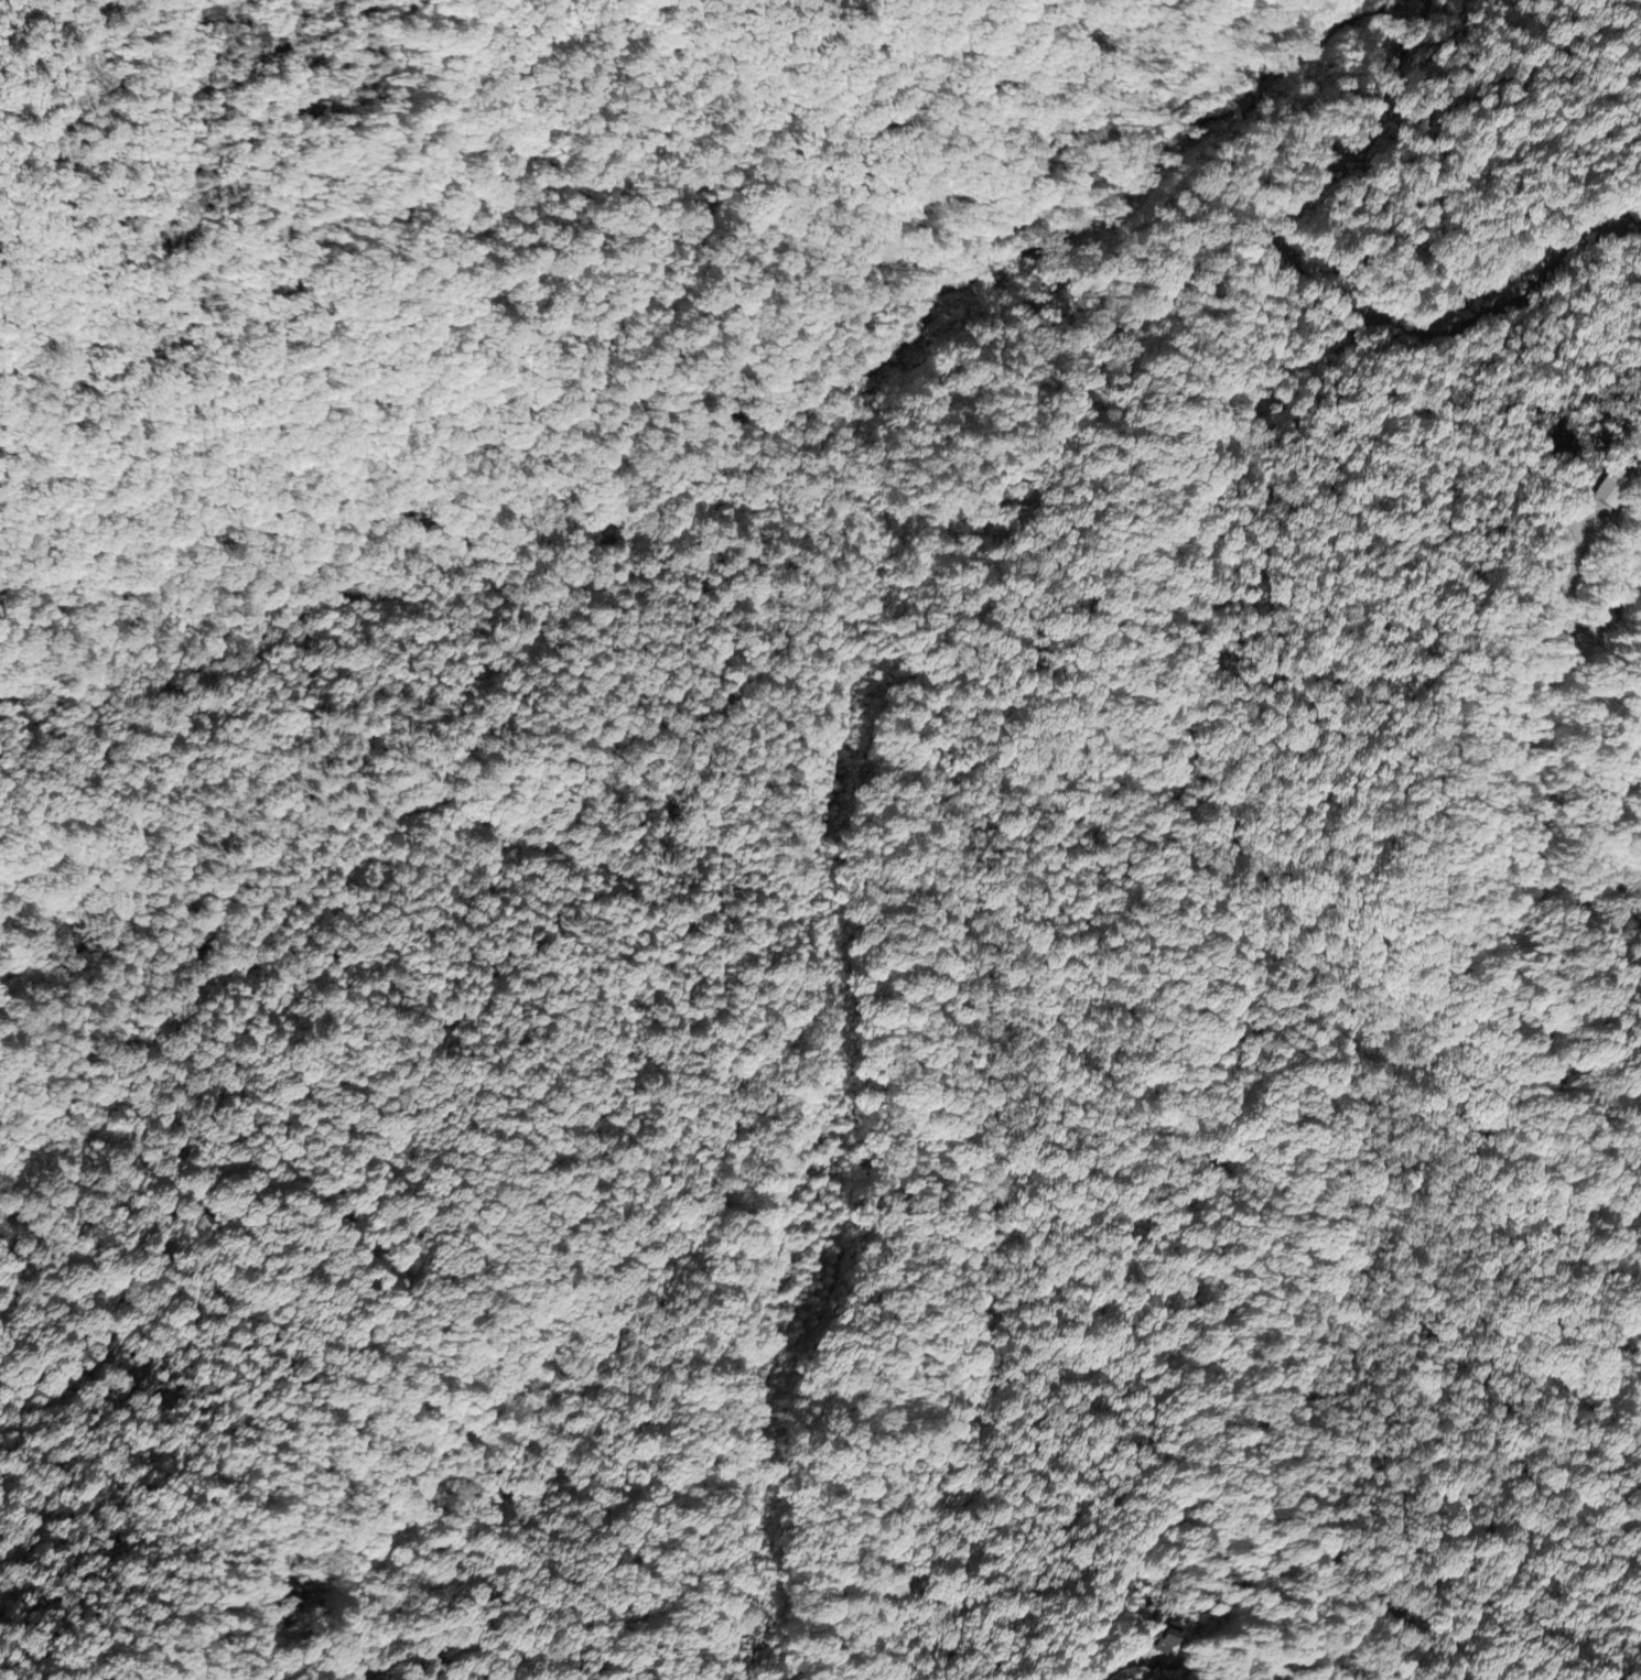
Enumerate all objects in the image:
building: (1607, 494)

